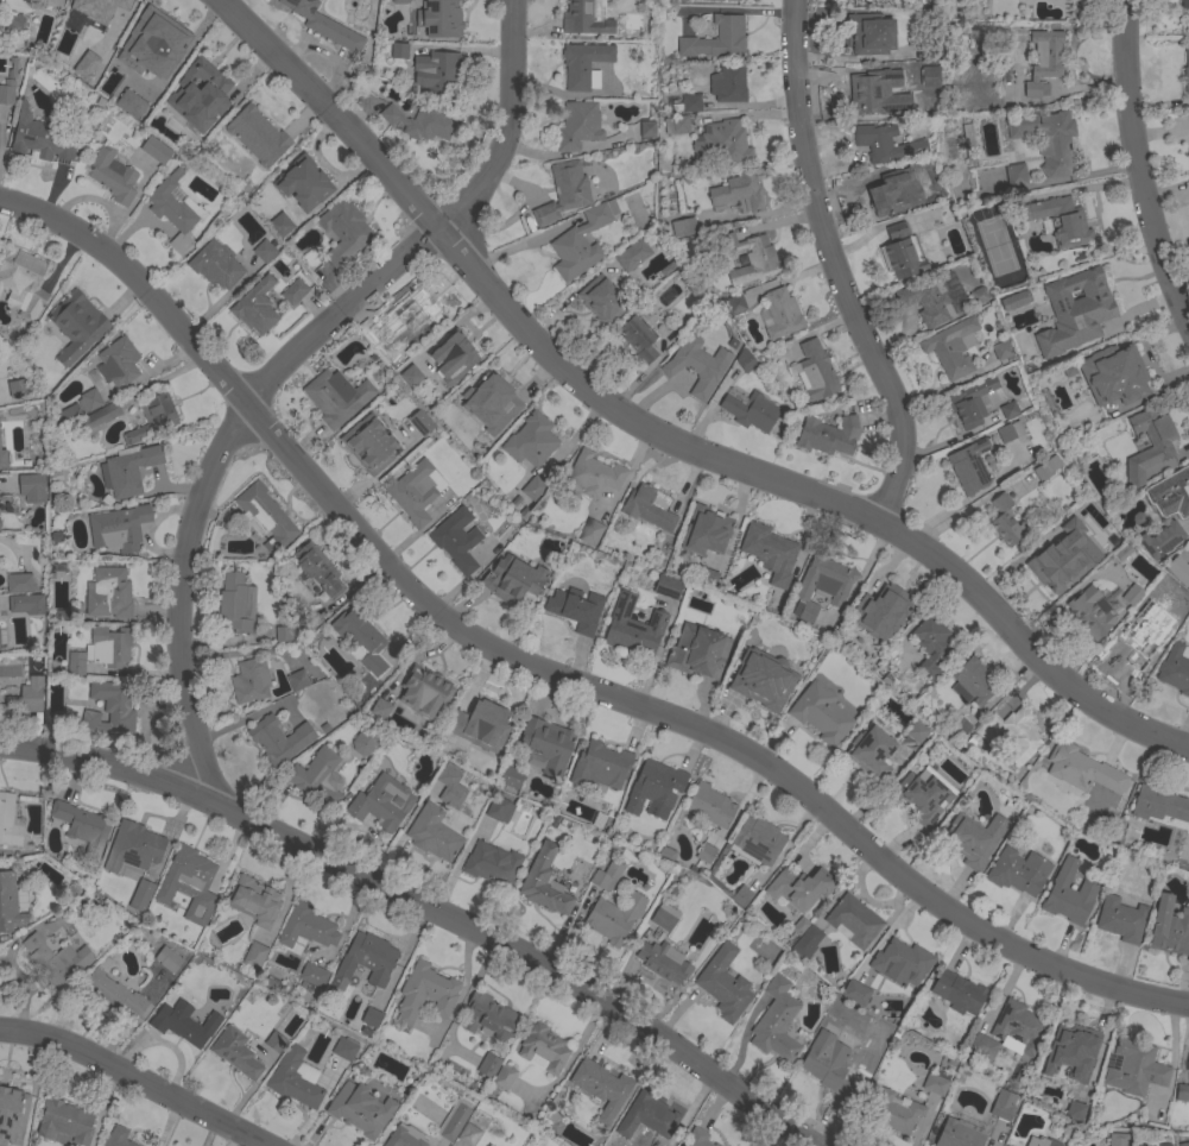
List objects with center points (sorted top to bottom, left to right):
building: (400, 1)
building: (729, 1)
building: (1185, 5)
building: (99, 8)
building: (584, 18)
building: (439, 19)
building: (13, 23)
building: (324, 24)
building: (871, 33)
building: (716, 39)
building: (153, 44)
building: (930, 50)
building: (399, 51)
building: (1044, 61)
building: (583, 63)
building: (83, 67)
building: (1187, 69)
building: (441, 73)
building: (930, 77)
building: (728, 83)
building: (7, 92)
building: (195, 93)
building: (868, 93)
building: (131, 103)
building: (687, 103)
building: (1188, 115)
building: (420, 122)
building: (677, 125)
building: (577, 126)
building: (647, 128)
building: (257, 136)
building: (38, 139)
building: (885, 143)
building: (721, 144)
building: (1055, 144)
building: (156, 150)
road: (1137, 168)
building: (1016, 175)
building: (113, 176)
building: (303, 183)
building: (739, 190)
building: (564, 191)
building: (896, 196)
building: (175, 210)
building: (947, 214)
building: (1055, 220)
building: (278, 226)
building: (683, 226)
building: (343, 232)
building: (581, 241)
building: (264, 251)
building: (902, 252)
building: (632, 254)
building: (751, 257)
building: (215, 265)
road: (834, 267)
building: (23, 281)
building: (293, 292)
building: (978, 295)
building: (1098, 297)
building: (932, 298)
building: (602, 301)
building: (1012, 302)
building: (735, 303)
building: (255, 307)
building: (779, 314)
building: (404, 316)
building: (76, 326)
building: (638, 339)
building: (1076, 340)
building: (951, 347)
building: (1003, 351)
building: (448, 359)
building: (746, 360)
building: (118, 361)
building: (698, 365)
road: (284, 371)
building: (816, 371)
building: (1114, 374)
building: (407, 377)
building: (492, 393)
building: (336, 397)
building: (89, 399)
building: (969, 402)
building: (1008, 409)
building: (751, 411)
building: (70, 415)
building: (152, 416)
building: (99, 418)
building: (828, 435)
road: (656, 439)
building: (531, 440)
building: (369, 448)
building: (1158, 449)
building: (980, 458)
building: (4, 461)
building: (1045, 468)
building: (128, 471)
building: (593, 474)
building: (32, 487)
building: (533, 487)
building: (416, 491)
building: (1172, 491)
building: (646, 508)
building: (265, 516)
building: (1077, 516)
building: (1006, 521)
building: (119, 528)
building: (704, 530)
building: (590, 531)
building: (456, 539)
building: (1162, 539)
building: (770, 553)
building: (715, 563)
building: (317, 568)
building: (1048, 569)
building: (1178, 569)
building: (513, 575)
building: (704, 578)
building: (19, 583)
building: (822, 585)
building: (670, 587)
building: (109, 593)
building: (1132, 594)
building: (236, 603)
building: (26, 604)
building: (575, 609)
building: (881, 611)
building: (1092, 611)
building: (309, 619)
building: (633, 626)
building: (283, 634)
building: (1143, 637)
building: (361, 638)
building: (110, 646)
building: (931, 646)
building: (698, 650)
building: (76, 663)
building: (1175, 669)
road: (548, 670)
building: (763, 679)
building: (297, 680)
building: (249, 681)
building: (972, 682)
building: (426, 687)
building: (25, 697)
building: (110, 707)
building: (377, 710)
building: (821, 713)
building: (487, 720)
building: (959, 728)
building: (982, 730)
building: (917, 735)
building: (1016, 737)
building: (279, 738)
building: (365, 742)
building: (441, 743)
building: (546, 745)
building: (867, 754)
building: (607, 763)
building: (1082, 769)
building: (317, 777)
building: (510, 777)
building: (450, 786)
building: (654, 787)
building: (918, 796)
building: (382, 802)
building: (710, 805)
building: (1159, 805)
building: (499, 808)
building: (10, 821)
building: (82, 825)
building: (434, 833)
building: (975, 837)
building: (755, 842)
building: (134, 846)
building: (706, 852)
building: (666, 855)
building: (492, 863)
building: (1018, 871)
building: (607, 875)
building: (544, 882)
building: (189, 883)
building: (799, 887)
building: (143, 889)
building: (1069, 894)
building: (741, 896)
building: (253, 900)
building: (12, 901)
road: (425, 907)
building: (664, 917)
building: (614, 918)
building: (1120, 919)
building: (854, 920)
building: (799, 925)
building: (306, 927)
building: (1169, 927)
building: (807, 942)
building: (254, 956)
building: (167, 958)
building: (367, 958)
building: (55, 959)
building: (664, 962)
building: (902, 962)
building: (314, 975)
building: (271, 983)
building: (723, 983)
building: (959, 991)
building: (112, 993)
building: (425, 993)
building: (855, 993)
building: (371, 1016)
building: (488, 1016)
building: (776, 1021)
building: (184, 1022)
building: (1018, 1028)
building: (274, 1041)
building: (1077, 1044)
building: (543, 1046)
building: (984, 1047)
building: (344, 1049)
building: (235, 1052)
building: (1188, 1063)
building: (488, 1065)
road: (565, 1065)
building: (829, 1066)
building: (1133, 1068)
building: (1041, 1073)
building: (504, 1077)
road: (134, 1078)
building: (292, 1079)
building: (936, 1082)
building: (601, 1087)
building: (1182, 1093)
building: (14, 1097)
building: (1003, 1104)
building: (360, 1109)
building: (894, 1112)
building: (653, 1113)
building: (1071, 1113)
building: (64, 1121)
building: (454, 1122)
building: (468, 1134)
building: (959, 1134)
building: (118, 1138)
building: (403, 1138)
building: (1118, 1139)
building: (696, 1141)
building: (1041, 1141)
building: (1183, 1144)
building: (649, 1145)
building: (1006, 1145)

